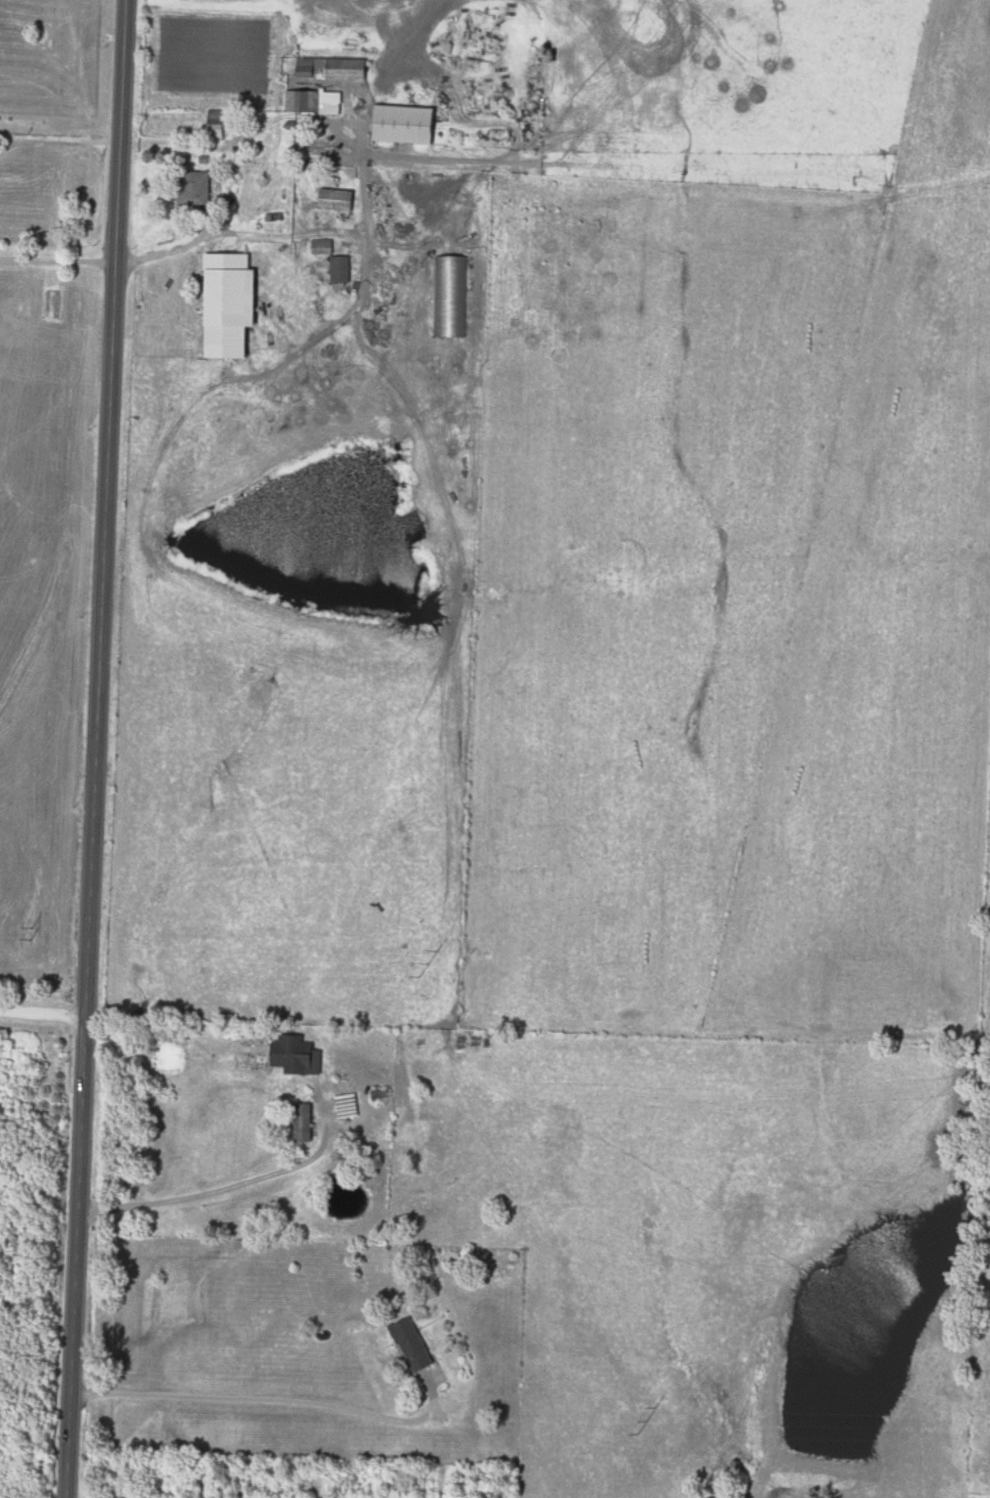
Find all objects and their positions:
building: (312, 68)
building: (349, 70)
building: (316, 103)
building: (410, 125)
building: (219, 126)
building: (339, 201)
road: (256, 235)
road: (54, 263)
building: (235, 309)
road: (85, 748)
road: (38, 1015)
building: (298, 1054)
building: (307, 1123)
road: (233, 1185)
building: (417, 1345)
road: (265, 1399)

